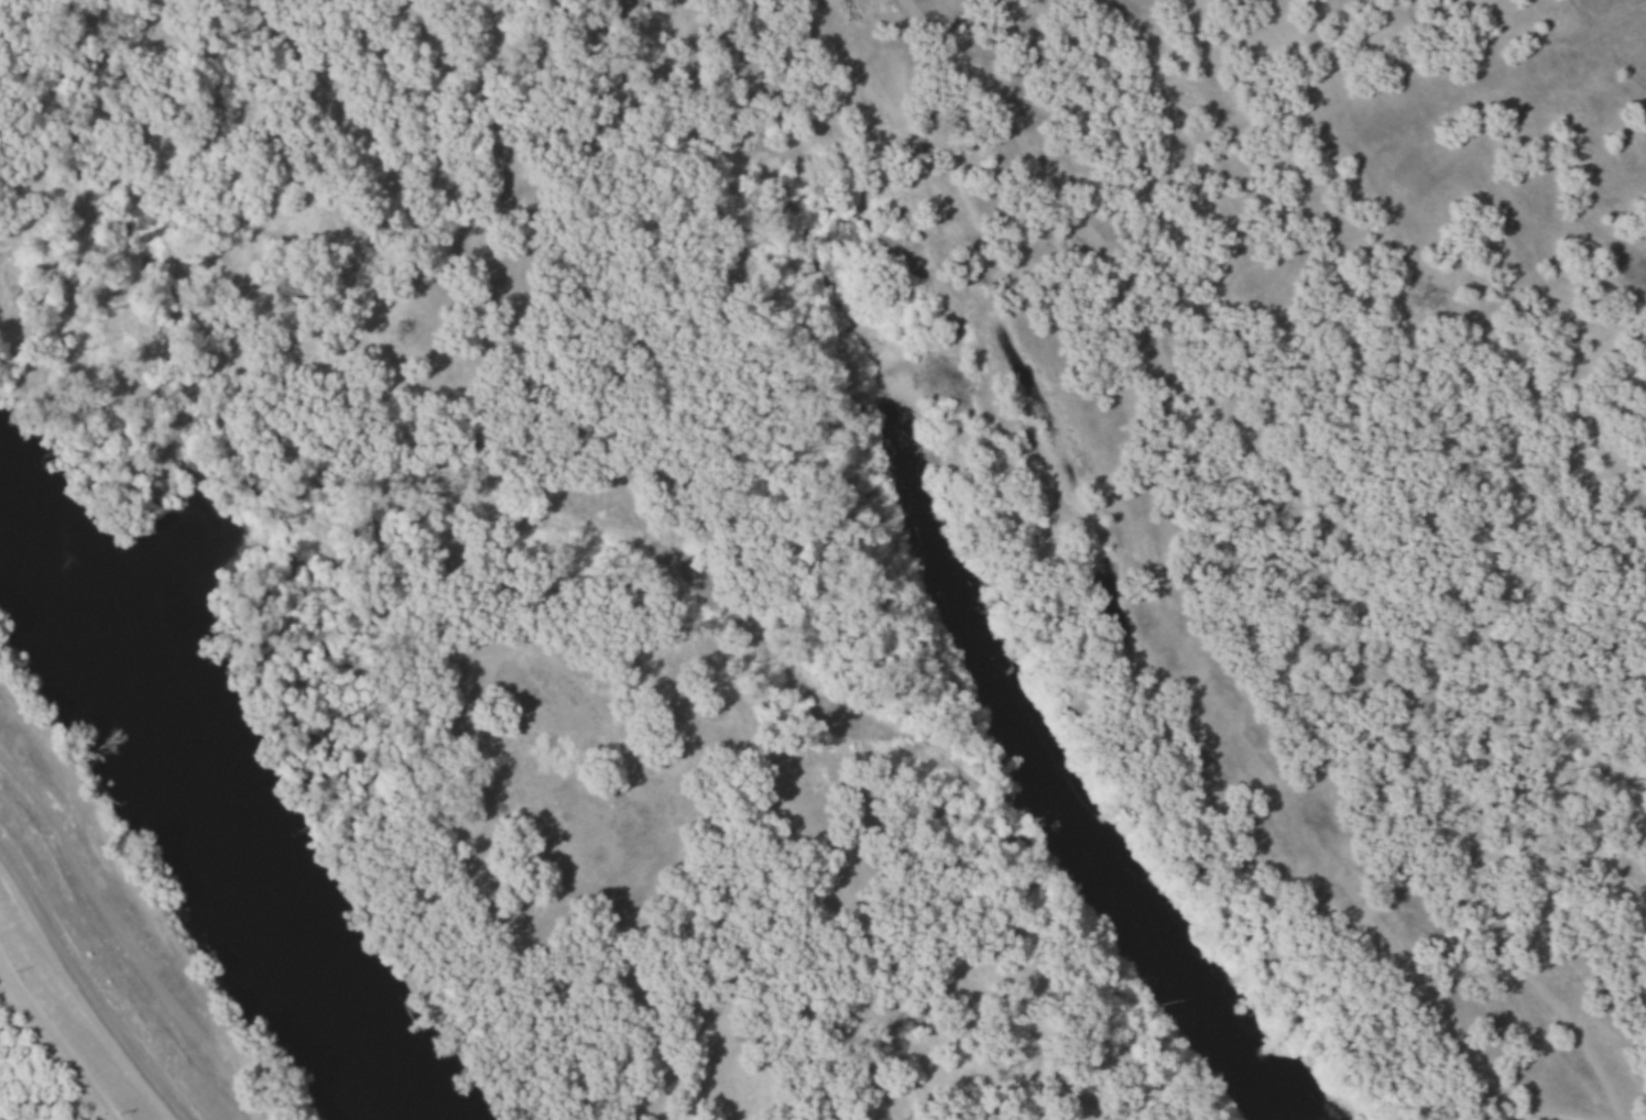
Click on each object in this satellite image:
road: (85, 990)

